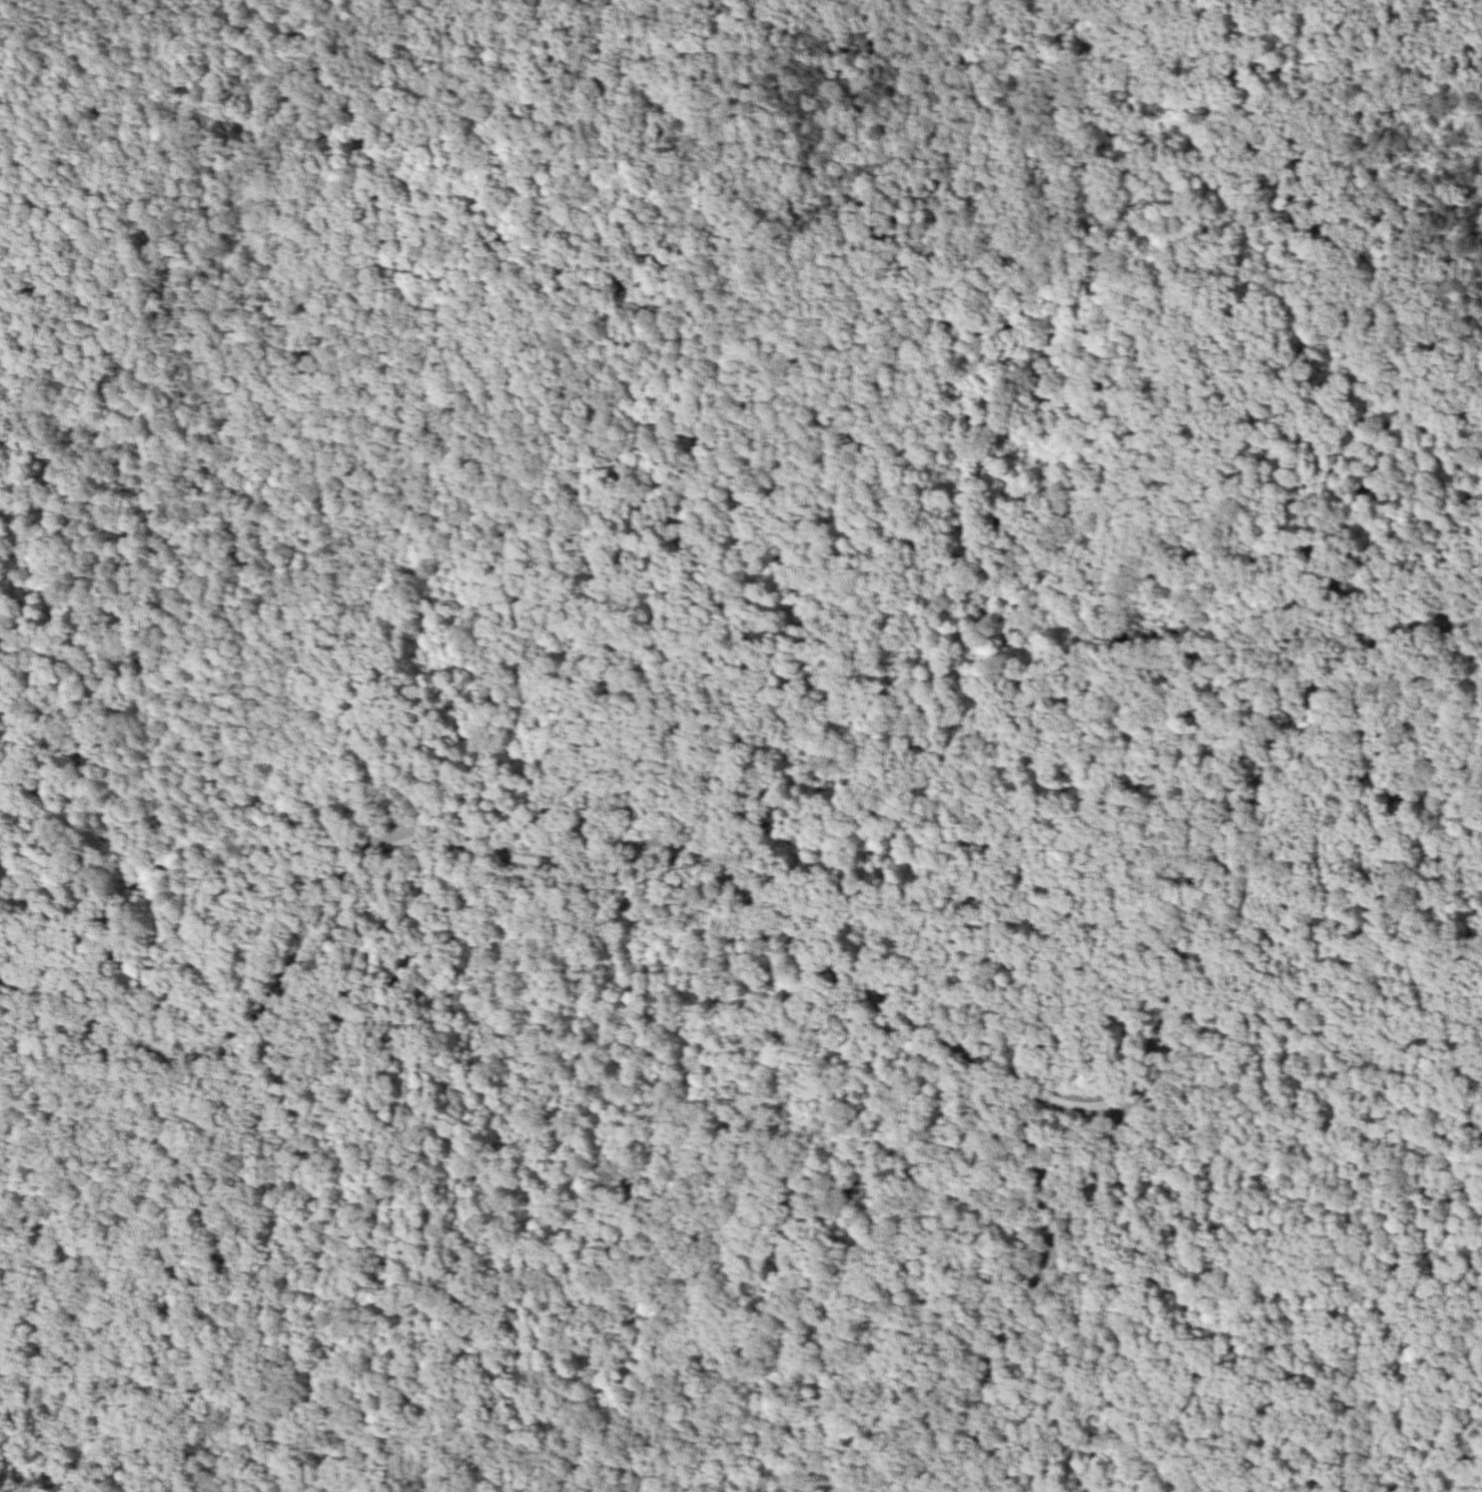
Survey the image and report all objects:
road: (822, 962)
road: (1040, 1169)
road: (1037, 1290)

